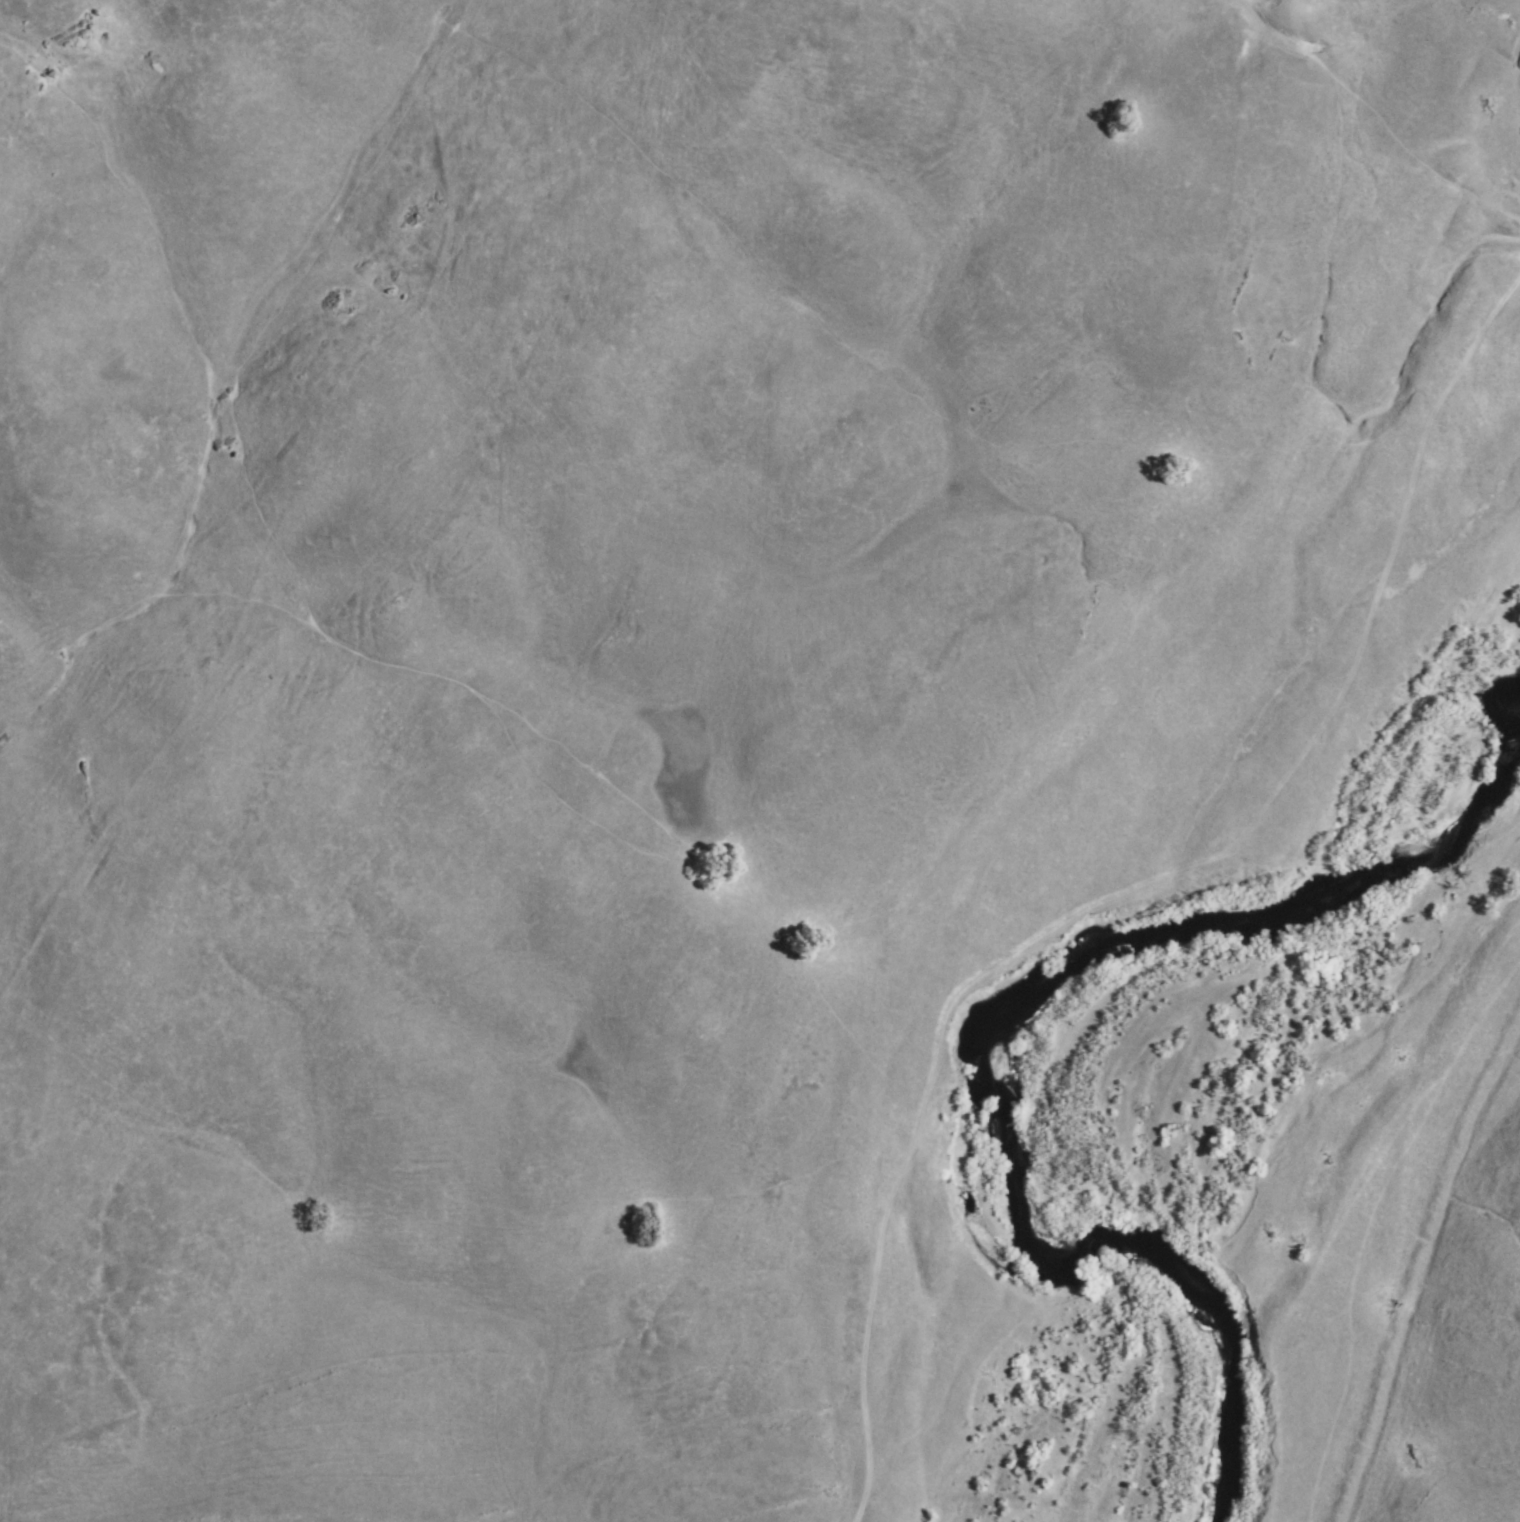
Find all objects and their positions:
river: (1057, 1037)

